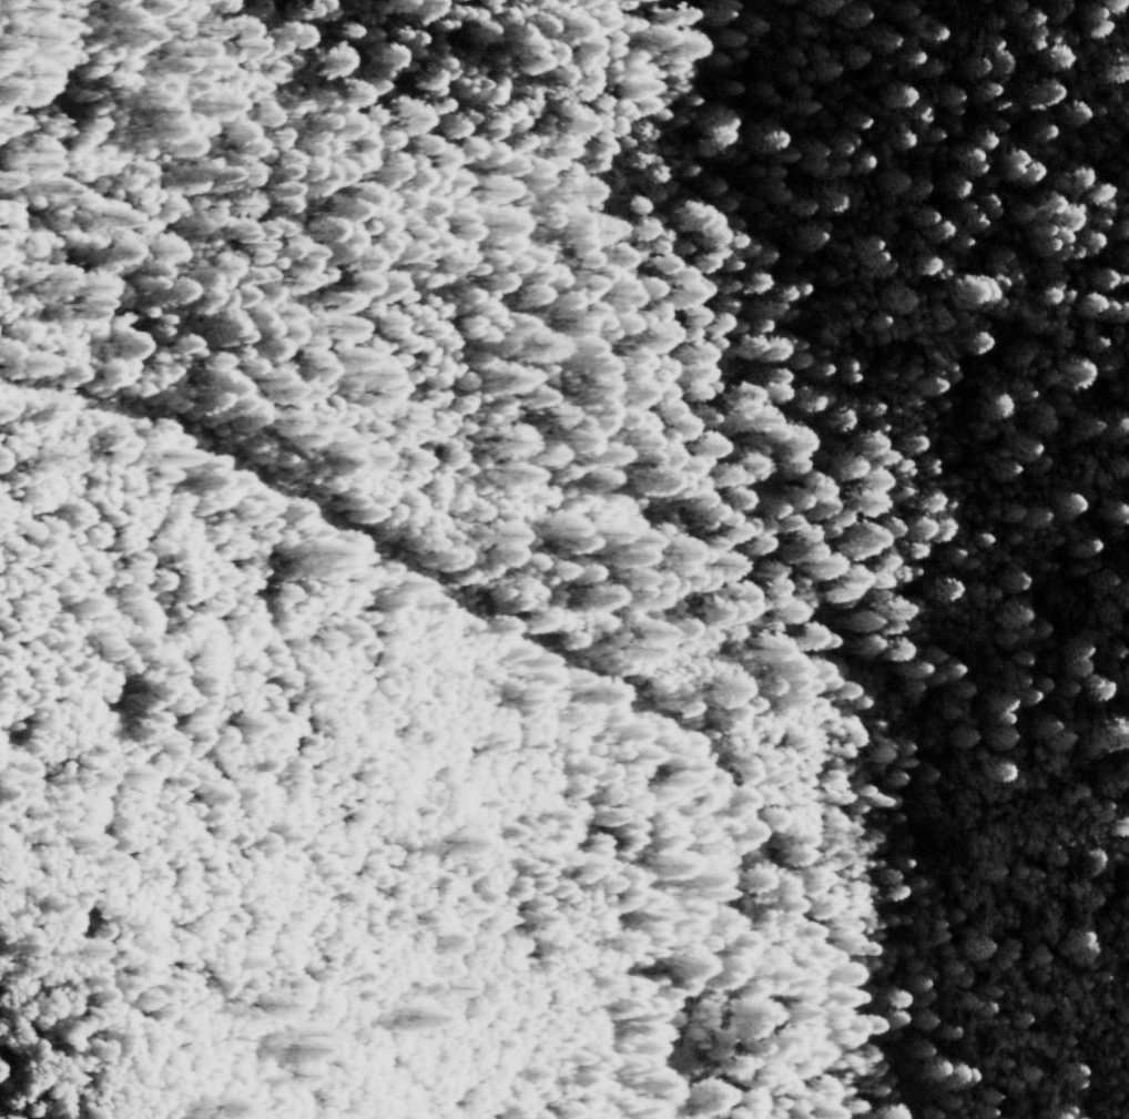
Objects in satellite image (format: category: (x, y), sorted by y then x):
road: (212, 179)

